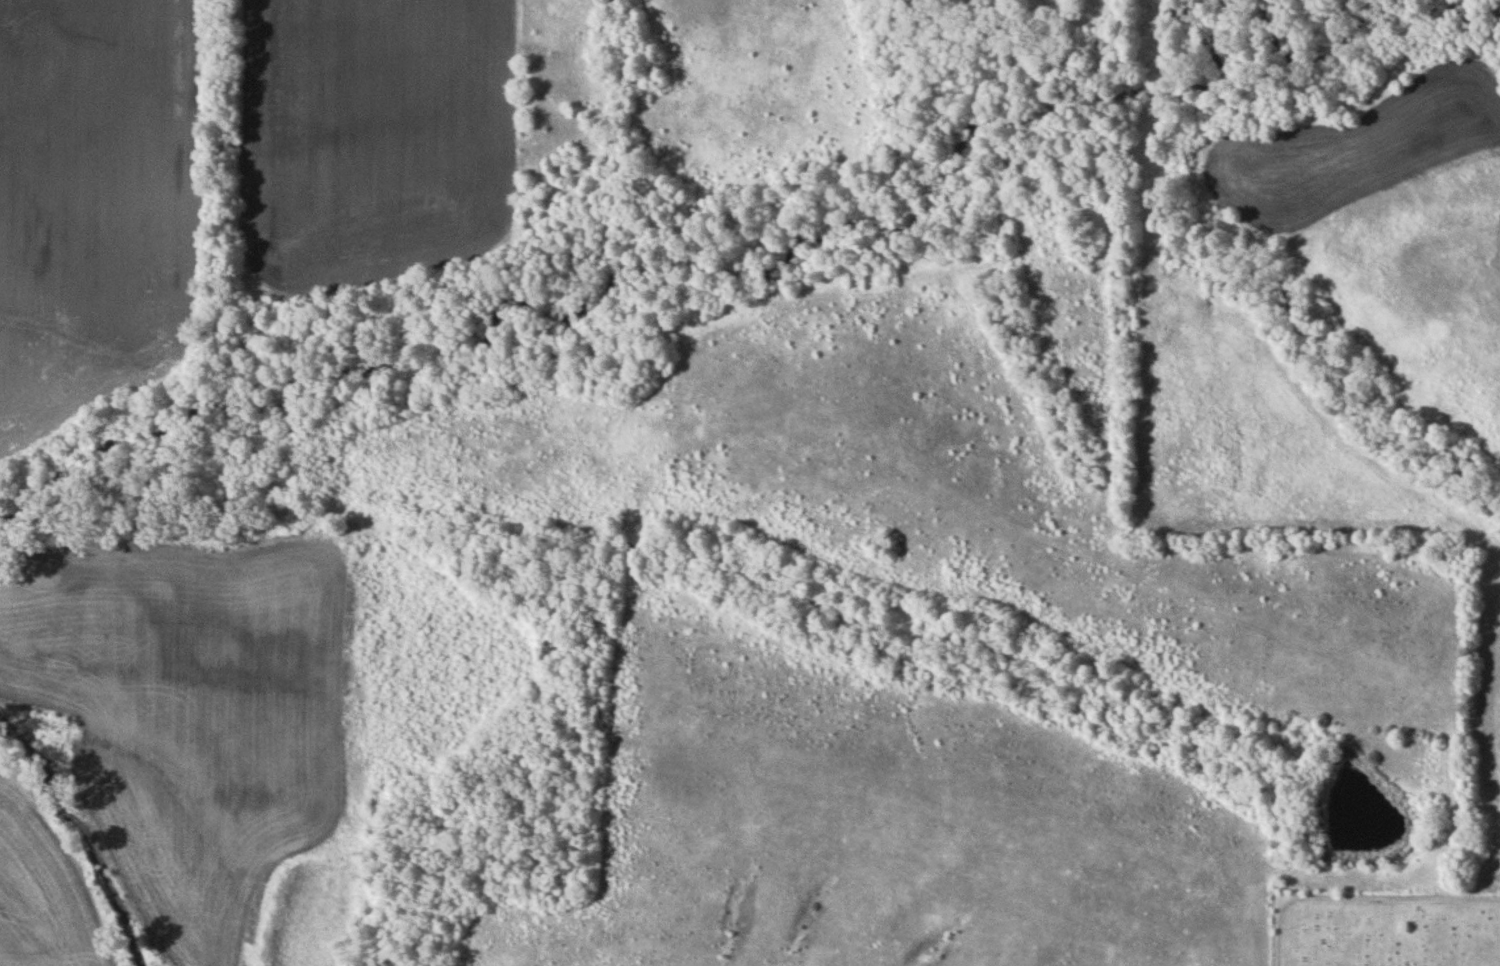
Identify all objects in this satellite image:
road: (1361, 899)
park: (1386, 929)

